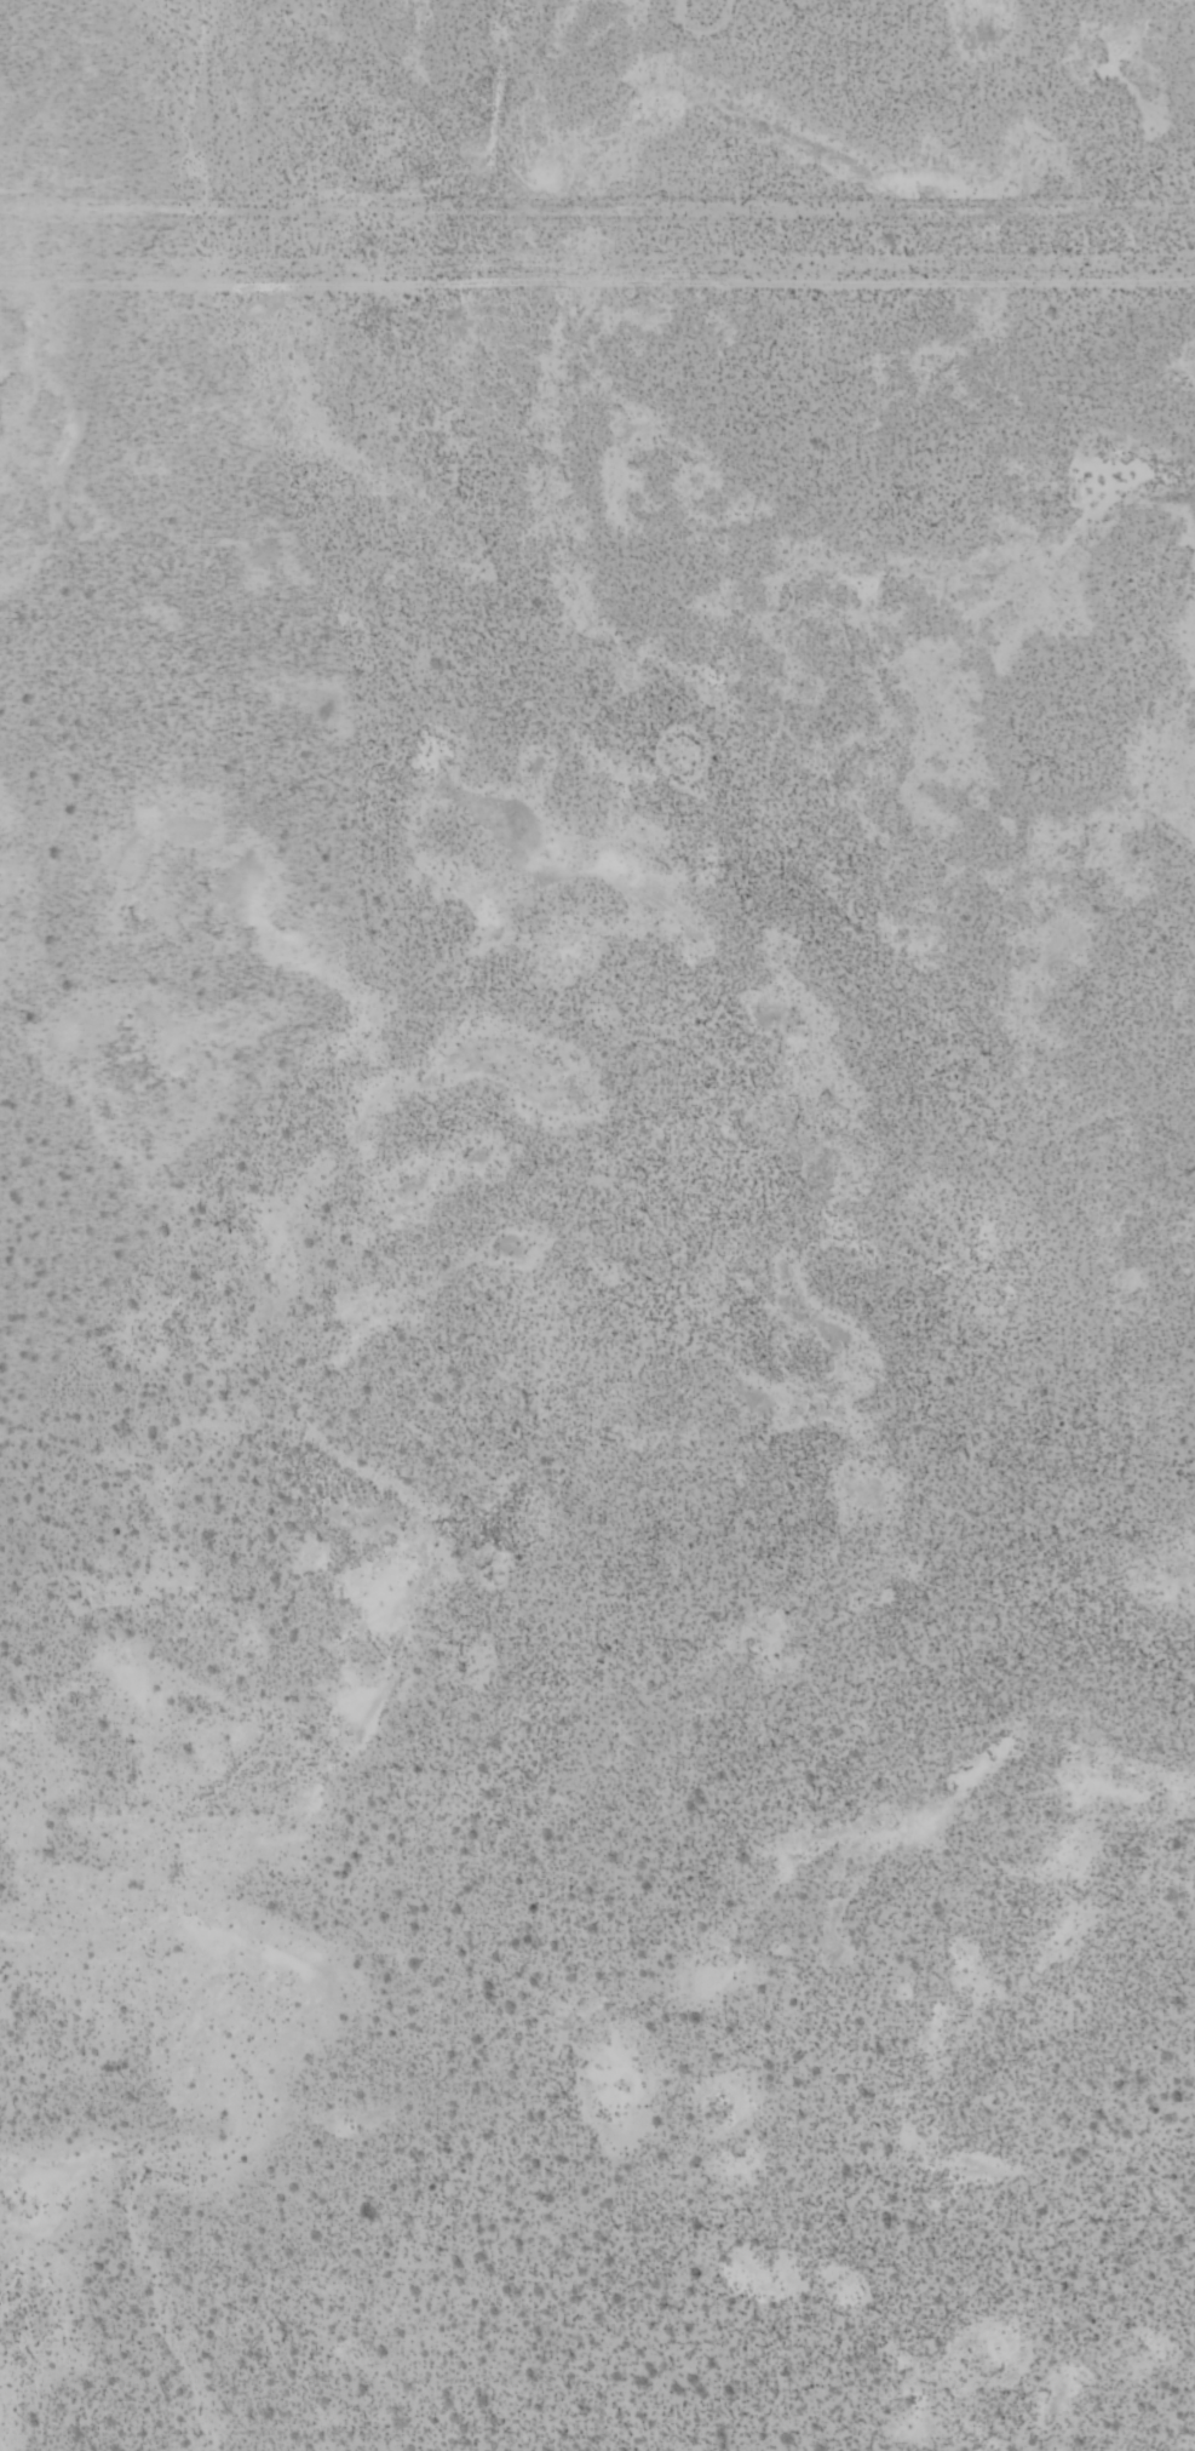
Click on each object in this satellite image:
airport: (597, 1368)

